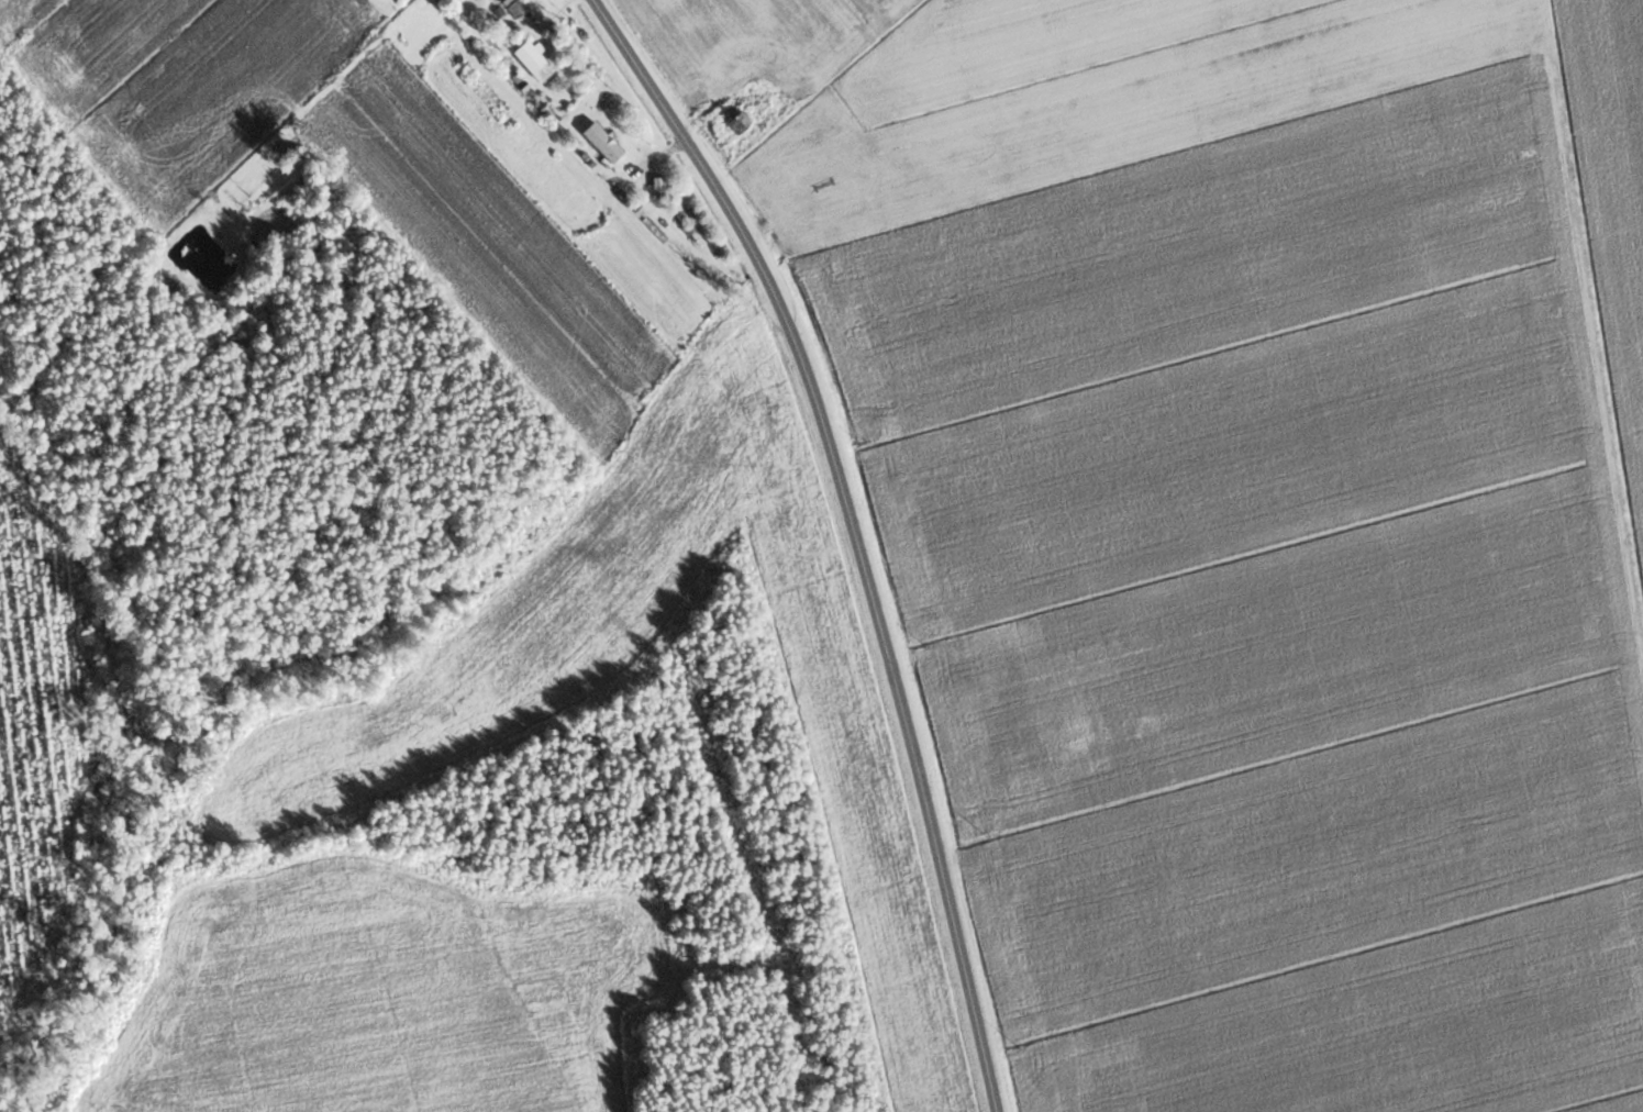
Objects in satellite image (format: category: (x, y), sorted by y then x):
building: (513, 7)
road: (524, 27)
building: (531, 59)
building: (737, 121)
building: (600, 141)
road: (854, 532)

